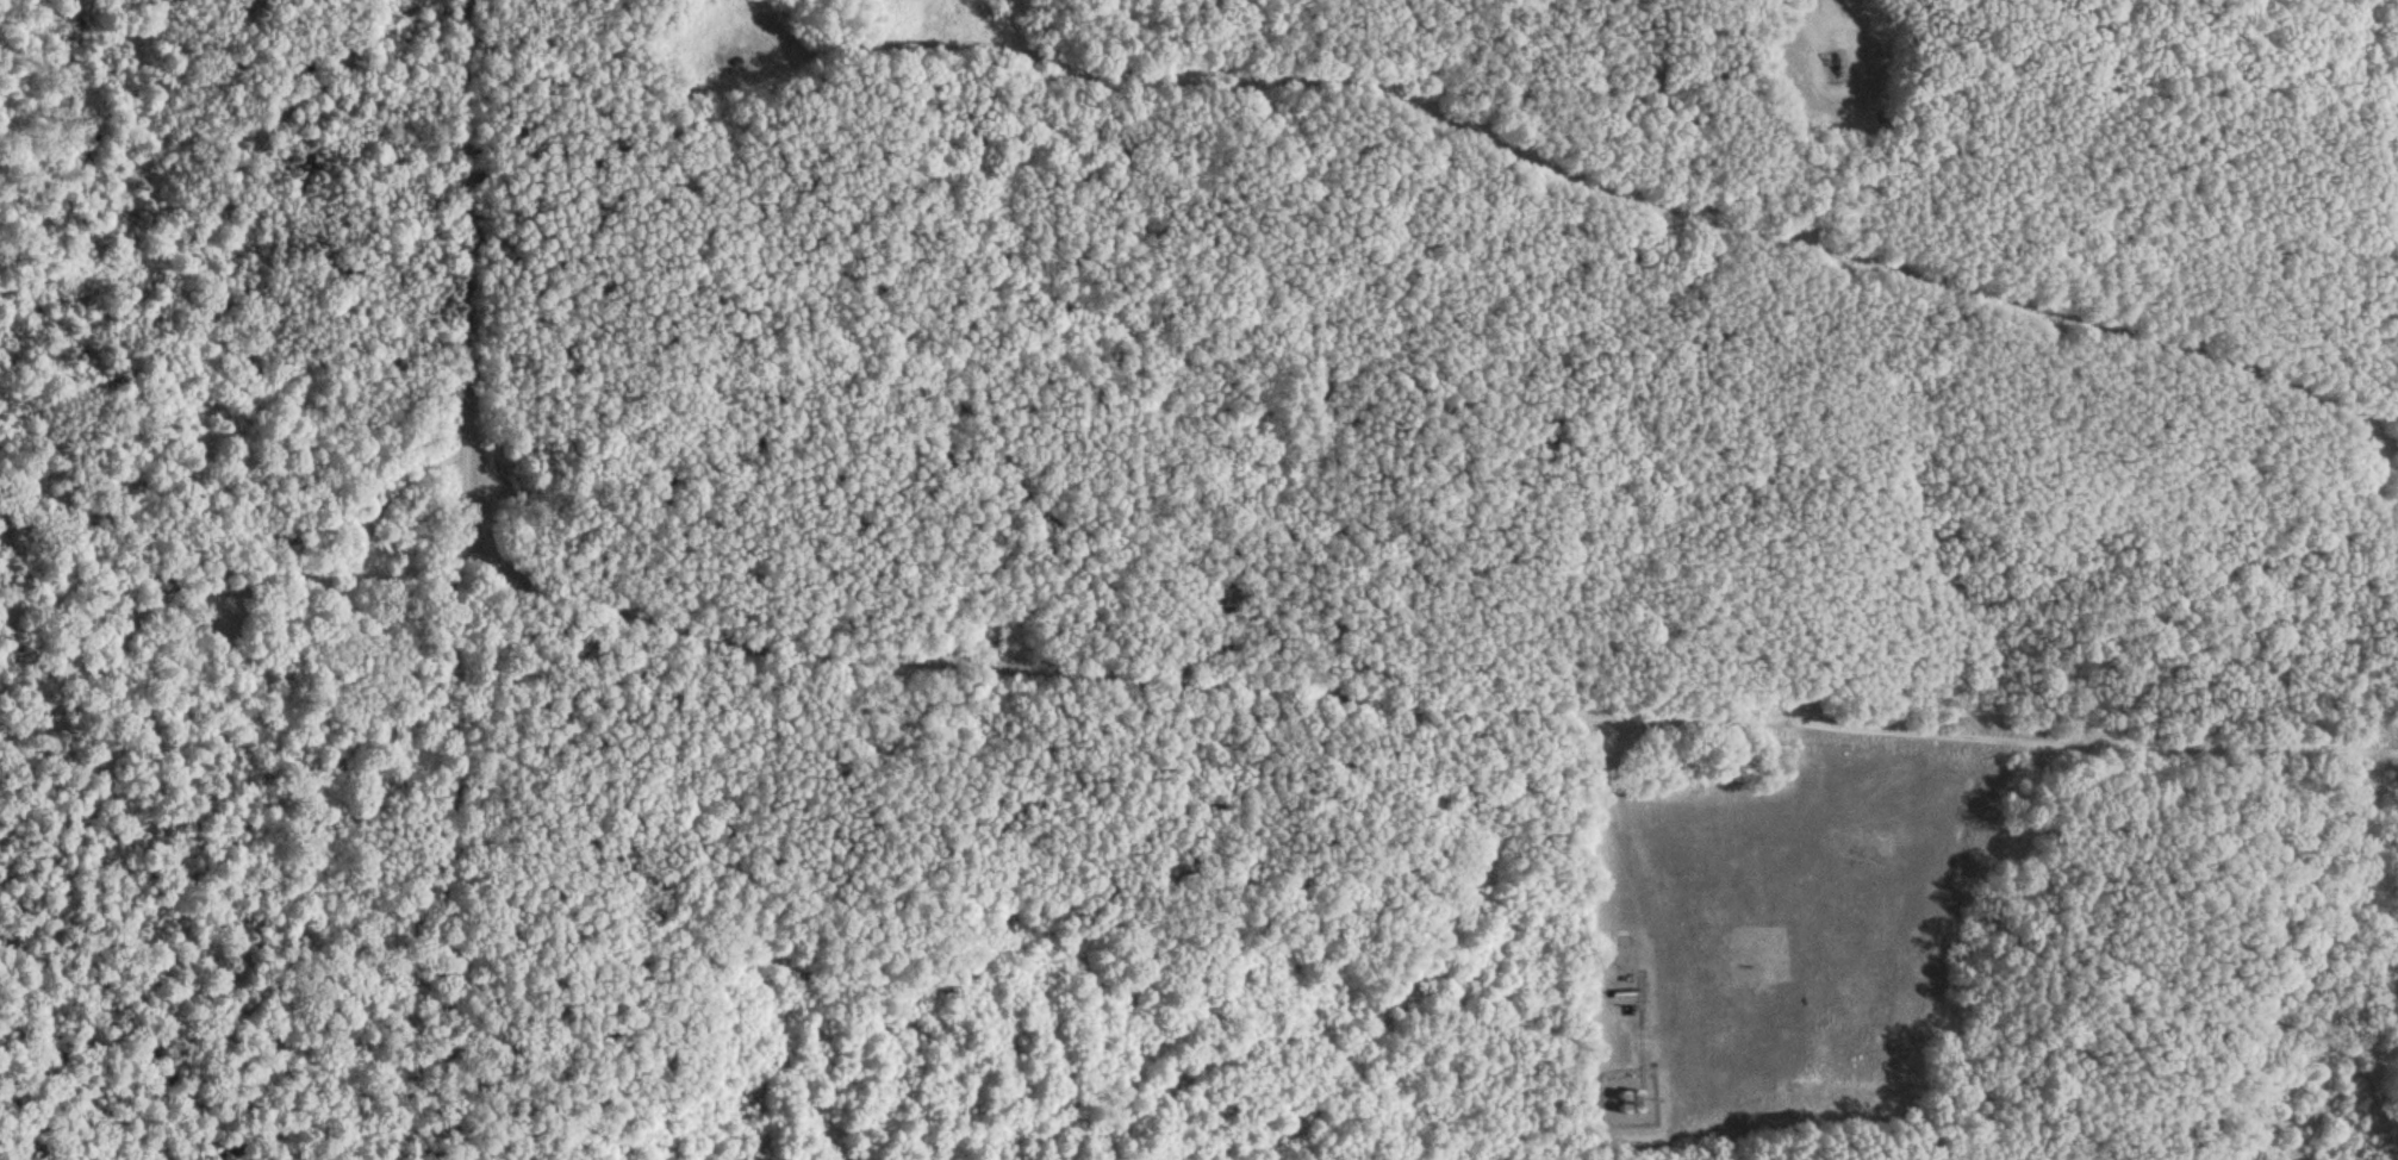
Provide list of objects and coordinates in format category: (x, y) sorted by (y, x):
petroleum well: (1827, 74)
road: (1601, 191)
road: (461, 580)
road: (1419, 712)

